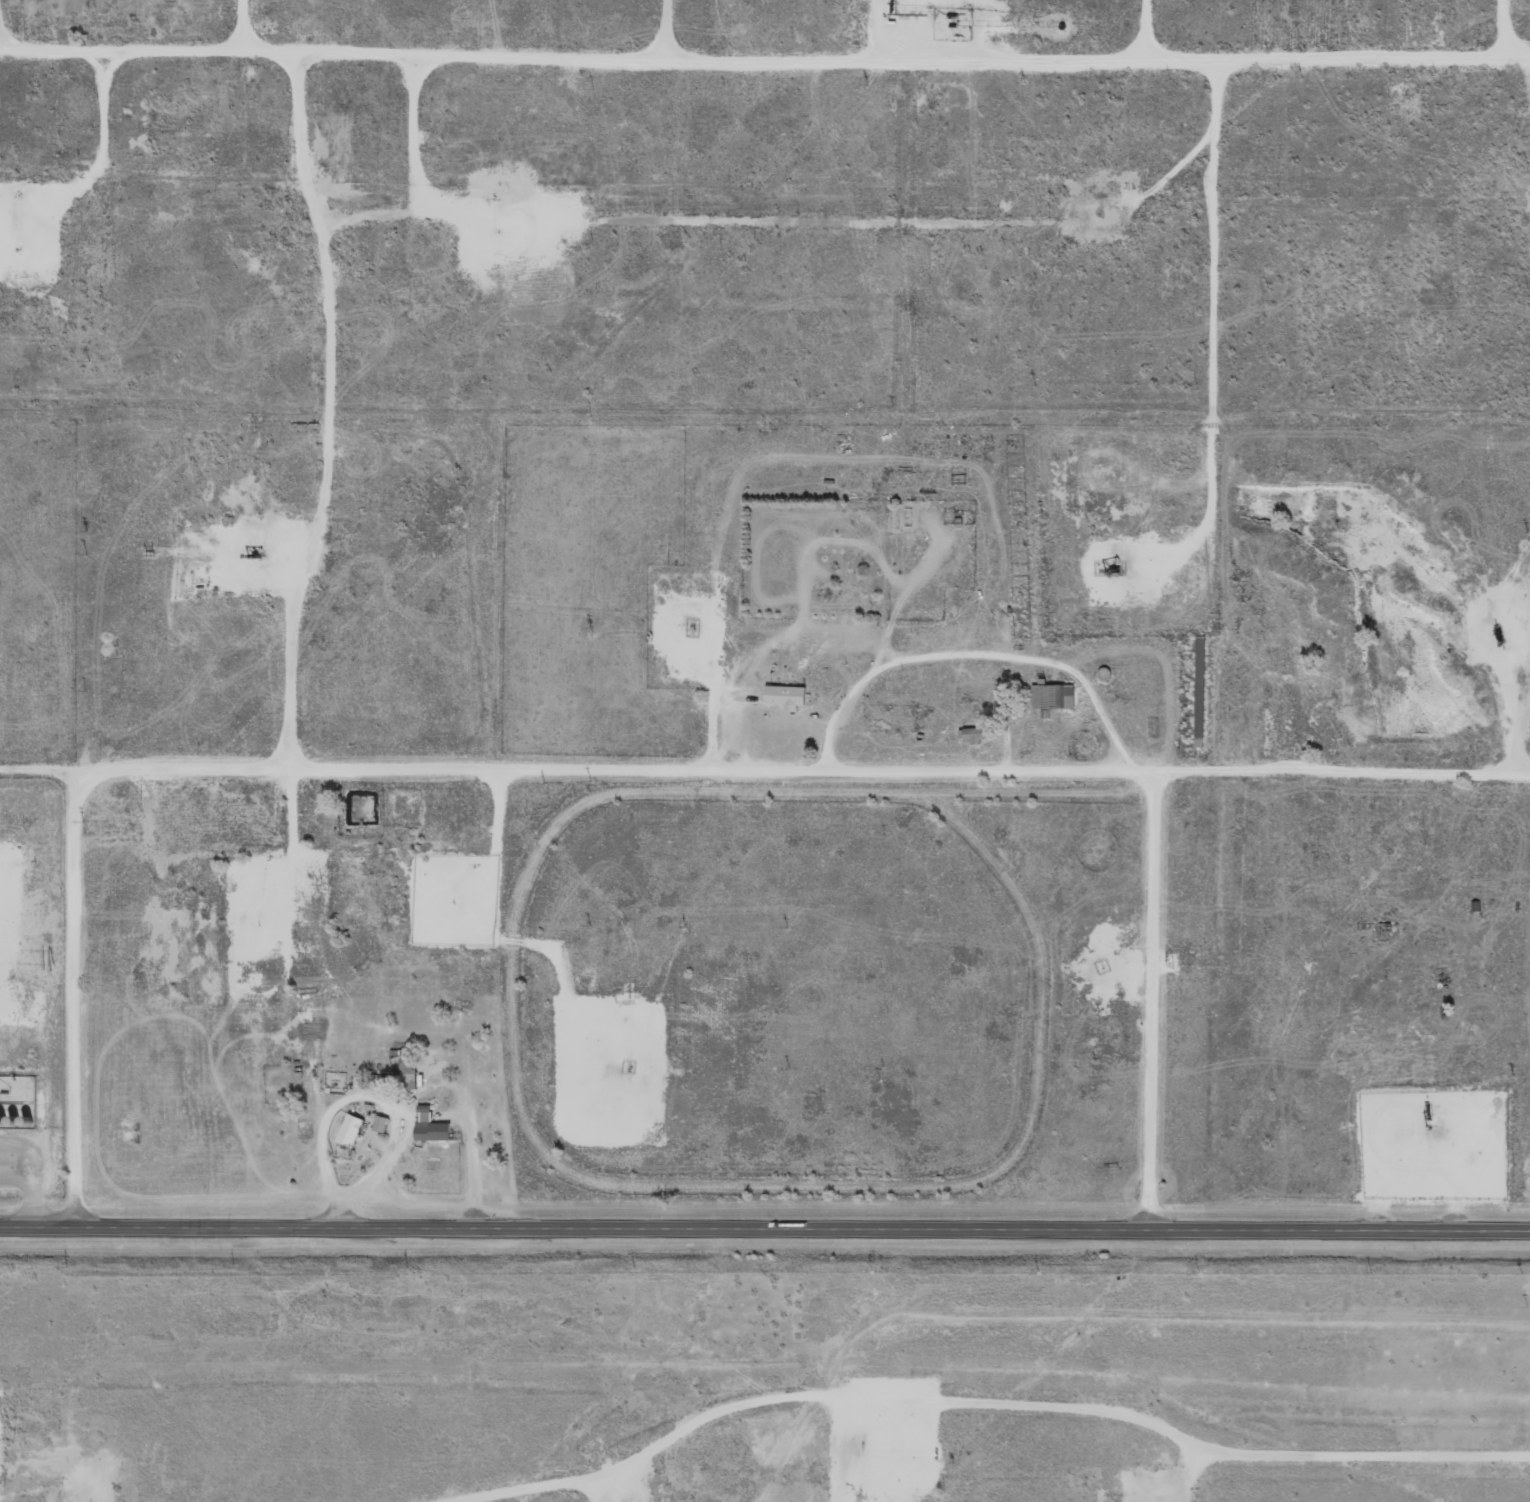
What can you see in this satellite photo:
road: (1144, 23)
road: (764, 47)
road: (1213, 315)
road: (971, 658)
building: (784, 696)
building: (1052, 696)
road: (34, 771)
road: (835, 772)
road: (1341, 776)
road: (69, 998)
road: (376, 1100)
building: (429, 1125)
building: (349, 1130)
road: (471, 1176)
road: (765, 1225)
road: (1046, 1407)
road: (502, 1472)
road: (1171, 1472)

